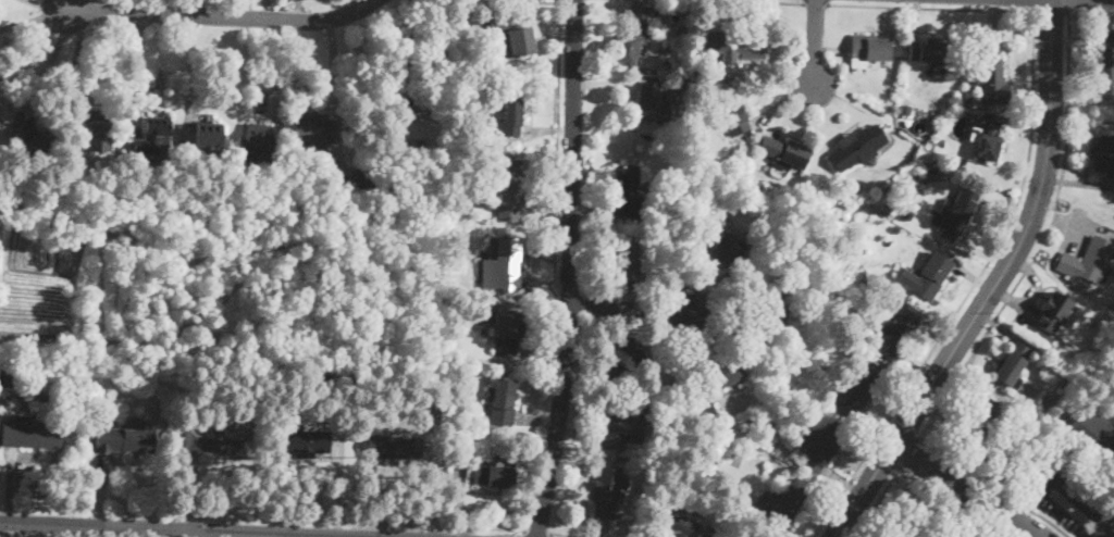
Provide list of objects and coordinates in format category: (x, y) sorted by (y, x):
road: (1104, 0)
road: (726, 2)
road: (66, 4)
road: (53, 5)
road: (815, 5)
road: (1035, 5)
road: (1070, 7)
road: (930, 9)
road: (296, 10)
road: (1052, 13)
road: (224, 16)
road: (36, 17)
building: (513, 34)
building: (632, 39)
building: (725, 42)
road: (37, 43)
road: (815, 43)
road: (411, 46)
building: (869, 50)
building: (928, 50)
road: (48, 64)
building: (1105, 64)
building: (992, 74)
building: (968, 98)
building: (652, 102)
building: (906, 110)
building: (732, 113)
building: (511, 116)
building: (0, 121)
building: (314, 127)
building: (422, 127)
building: (96, 132)
building: (152, 136)
building: (210, 136)
building: (35, 139)
building: (985, 139)
building: (261, 141)
building: (942, 142)
building: (856, 147)
building: (784, 151)
building: (1104, 154)
building: (734, 167)
building: (366, 178)
building: (273, 182)
road: (556, 182)
building: (329, 183)
building: (509, 187)
building: (628, 189)
building: (887, 208)
building: (908, 214)
building: (956, 214)
building: (681, 217)
building: (895, 229)
road: (1020, 237)
road: (1040, 241)
building: (726, 248)
building: (628, 258)
building: (1088, 263)
building: (502, 264)
building: (822, 268)
road: (570, 270)
building: (928, 276)
building: (866, 282)
building: (820, 286)
road: (970, 289)
road: (629, 308)
building: (1053, 311)
building: (763, 319)
building: (1088, 321)
building: (896, 329)
building: (507, 332)
building: (623, 358)
building: (1010, 371)
building: (722, 374)
building: (11, 376)
building: (864, 387)
building: (39, 398)
building: (337, 399)
building: (502, 401)
building: (708, 410)
building: (626, 421)
building: (976, 421)
building: (30, 433)
building: (1092, 438)
building: (124, 440)
building: (218, 442)
building: (306, 442)
building: (387, 446)
building: (821, 446)
road: (908, 454)
building: (463, 459)
building: (494, 476)
road: (992, 487)
road: (965, 489)
road: (863, 490)
building: (608, 491)
road: (1023, 498)
building: (789, 500)
road: (953, 500)
road: (878, 502)
parking lot: (1069, 503)
road: (1074, 504)
building: (681, 525)
building: (715, 525)
road: (174, 529)
road: (491, 529)
road: (537, 532)
road: (135, 533)
road: (557, 535)
building: (958, 535)
road: (1033, 536)

